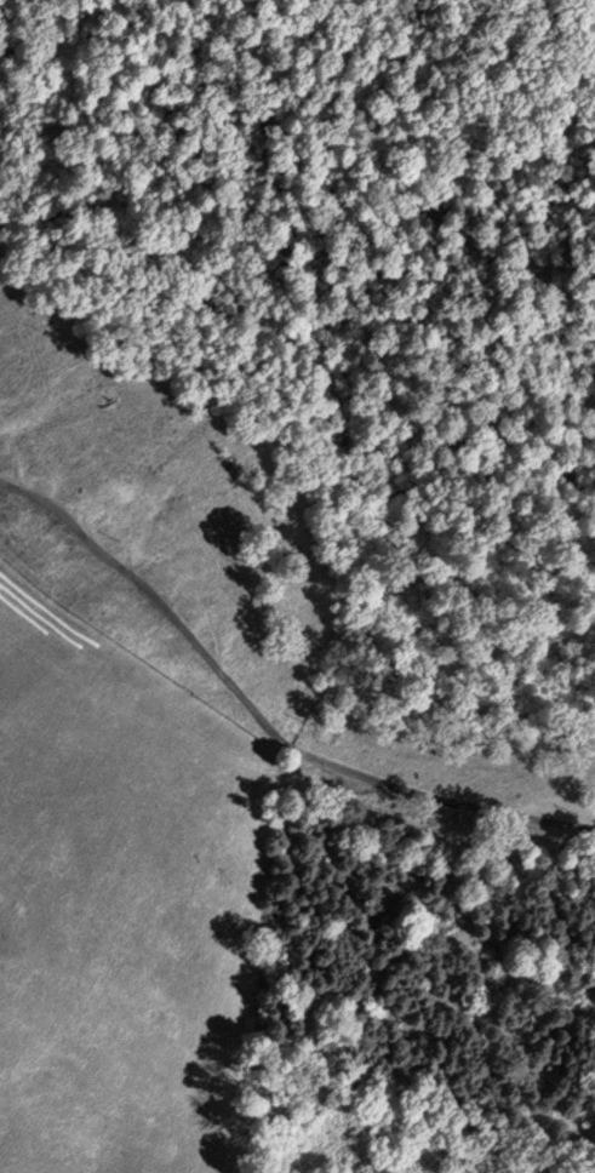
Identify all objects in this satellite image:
road: (263, 717)

